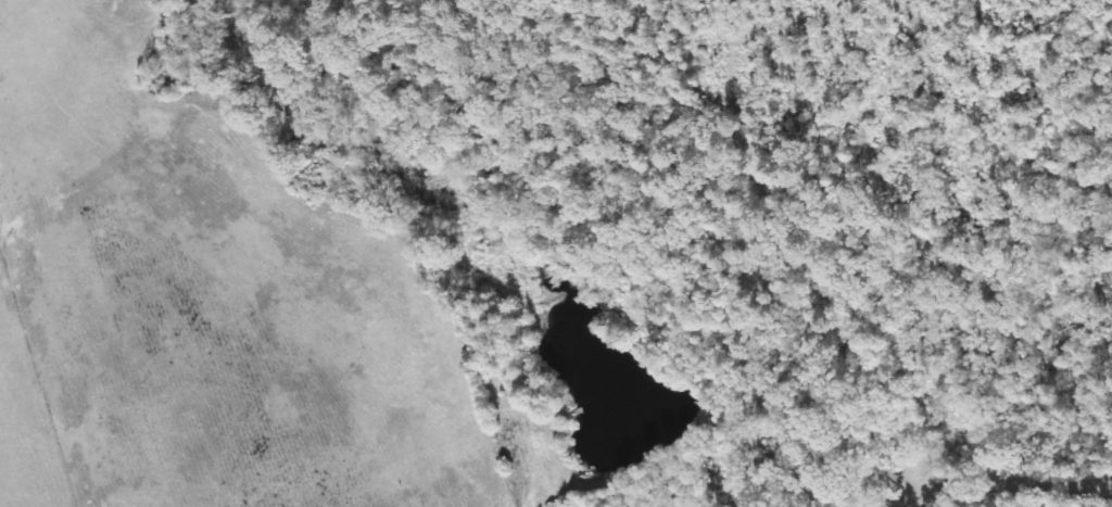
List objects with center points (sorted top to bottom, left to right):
road: (54, 12)

